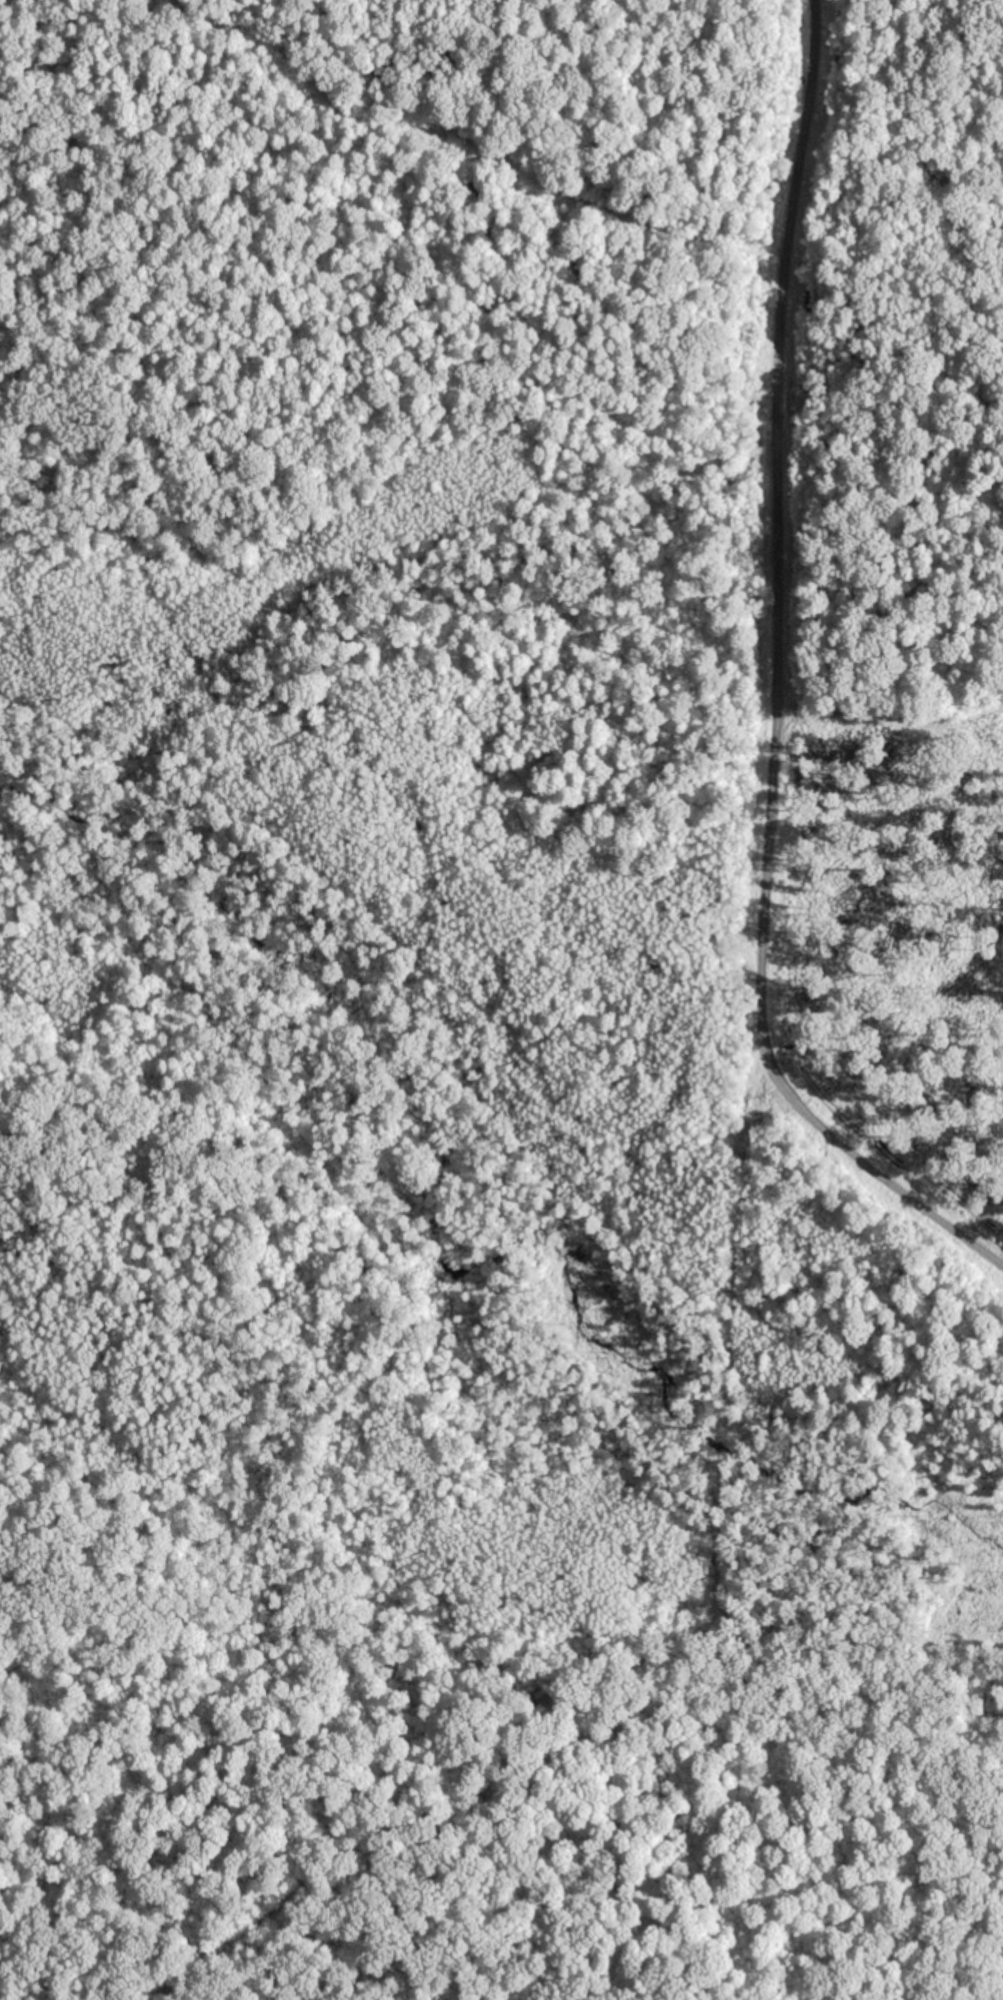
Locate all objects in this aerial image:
road: (775, 686)

